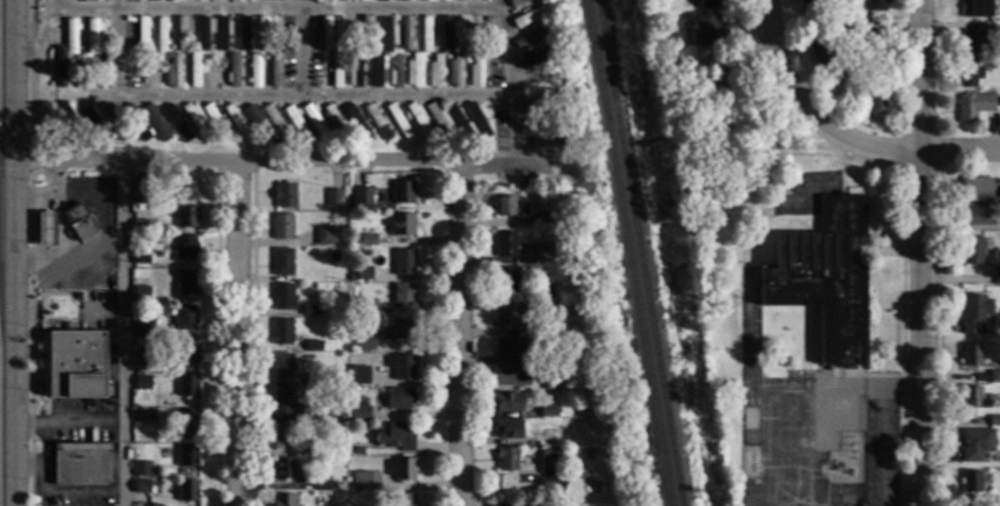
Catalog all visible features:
building: (193, 0)
building: (214, 0)
building: (233, 0)
building: (267, 0)
building: (340, 0)
building: (362, 0)
building: (381, 0)
building: (402, 0)
building: (421, 0)
building: (462, 0)
building: (87, 1)
building: (153, 1)
building: (173, 1)
building: (808, 1)
building: (654, 2)
building: (516, 3)
building: (707, 4)
building: (876, 5)
building: (975, 8)
building: (526, 9)
road: (309, 10)
road: (87, 12)
building: (529, 17)
building: (685, 26)
building: (850, 26)
building: (712, 31)
building: (204, 32)
building: (142, 33)
building: (183, 33)
building: (223, 33)
building: (243, 33)
building: (332, 33)
building: (367, 33)
building: (407, 34)
building: (92, 35)
building: (161, 35)
building: (263, 35)
building: (326, 35)
building: (344, 35)
building: (388, 35)
building: (426, 35)
building: (447, 35)
building: (467, 35)
building: (71, 36)
road: (44, 37)
building: (531, 38)
building: (974, 39)
building: (875, 40)
building: (457, 41)
building: (101, 45)
building: (210, 46)
building: (228, 46)
building: (331, 46)
building: (191, 47)
building: (376, 47)
building: (433, 48)
road: (118, 49)
road: (304, 49)
building: (396, 49)
building: (819, 50)
building: (206, 56)
building: (186, 57)
building: (244, 57)
building: (447, 57)
building: (265, 58)
building: (429, 58)
building: (95, 59)
building: (327, 59)
building: (409, 59)
building: (167, 60)
building: (533, 60)
building: (467, 62)
building: (225, 63)
building: (367, 63)
building: (727, 64)
building: (60, 67)
building: (233, 70)
building: (275, 70)
building: (336, 70)
building: (153, 71)
building: (193, 71)
building: (376, 71)
building: (414, 71)
building: (455, 71)
building: (476, 71)
building: (83, 72)
building: (103, 72)
building: (173, 72)
building: (213, 72)
building: (254, 72)
building: (355, 72)
building: (396, 72)
building: (435, 72)
building: (968, 74)
road: (15, 78)
building: (538, 79)
road: (513, 80)
building: (51, 84)
building: (554, 84)
road: (791, 91)
building: (874, 94)
road: (305, 98)
building: (542, 100)
building: (974, 107)
building: (549, 109)
building: (341, 114)
building: (70, 118)
building: (479, 118)
building: (154, 120)
building: (196, 120)
building: (113, 121)
building: (440, 121)
building: (459, 121)
building: (543, 121)
building: (94, 122)
building: (136, 122)
building: (176, 122)
building: (215, 122)
building: (235, 122)
building: (315, 122)
building: (376, 122)
building: (399, 122)
building: (419, 122)
building: (255, 123)
building: (275, 123)
building: (296, 123)
building: (336, 123)
building: (356, 123)
building: (409, 125)
building: (85, 130)
building: (128, 130)
building: (189, 130)
building: (65, 131)
building: (209, 131)
building: (370, 131)
building: (250, 132)
building: (350, 132)
building: (392, 132)
building: (432, 132)
building: (271, 133)
building: (290, 133)
building: (331, 133)
building: (170, 135)
building: (312, 135)
road: (757, 137)
building: (548, 138)
building: (565, 138)
building: (473, 141)
building: (273, 142)
building: (449, 144)
road: (892, 151)
road: (961, 151)
road: (7, 156)
road: (560, 159)
road: (269, 161)
building: (976, 189)
building: (186, 191)
building: (403, 193)
building: (284, 195)
building: (363, 196)
building: (141, 198)
building: (333, 198)
building: (510, 207)
building: (997, 207)
building: (977, 215)
building: (186, 218)
building: (547, 219)
building: (80, 223)
building: (141, 225)
building: (402, 225)
building: (282, 227)
building: (46, 230)
building: (324, 236)
building: (368, 241)
building: (505, 245)
building: (185, 248)
building: (970, 251)
railway: (626, 252)
railway: (636, 252)
road: (923, 252)
building: (543, 253)
building: (334, 258)
building: (141, 259)
building: (282, 262)
building: (403, 262)
building: (363, 274)
building: (997, 276)
building: (352, 278)
building: (824, 278)
building: (507, 279)
building: (187, 284)
building: (543, 288)
building: (141, 294)
building: (283, 297)
building: (403, 298)
building: (75, 307)
building: (366, 308)
building: (310, 310)
building: (507, 314)
building: (974, 314)
building: (185, 318)
building: (546, 327)
building: (143, 329)
building: (399, 330)
road: (15, 331)
road: (123, 332)
building: (282, 332)
road: (240, 333)
road: (462, 334)
building: (365, 341)
building: (313, 346)
building: (507, 348)
building: (187, 353)
building: (972, 356)
building: (141, 361)
building: (596, 361)
building: (76, 365)
building: (282, 367)
building: (401, 367)
building: (601, 368)
building: (360, 375)
building: (512, 376)
building: (994, 377)
building: (335, 379)
building: (313, 380)
building: (143, 382)
building: (554, 384)
building: (188, 386)
building: (399, 398)
building: (973, 398)
building: (506, 402)
building: (284, 403)
building: (548, 411)
building: (359, 412)
building: (560, 412)
building: (321, 414)
building: (143, 416)
building: (994, 420)
building: (187, 421)
road: (883, 428)
building: (506, 429)
building: (282, 437)
building: (396, 437)
building: (975, 444)
building: (322, 448)
building: (337, 448)
building: (355, 450)
building: (187, 456)
building: (551, 456)
building: (611, 457)
building: (507, 459)
building: (82, 465)
building: (141, 469)
building: (283, 469)
building: (404, 469)
building: (985, 474)
building: (365, 481)
building: (970, 481)
building: (321, 485)
building: (333, 485)
building: (142, 487)
building: (187, 491)
building: (405, 499)
building: (284, 500)

